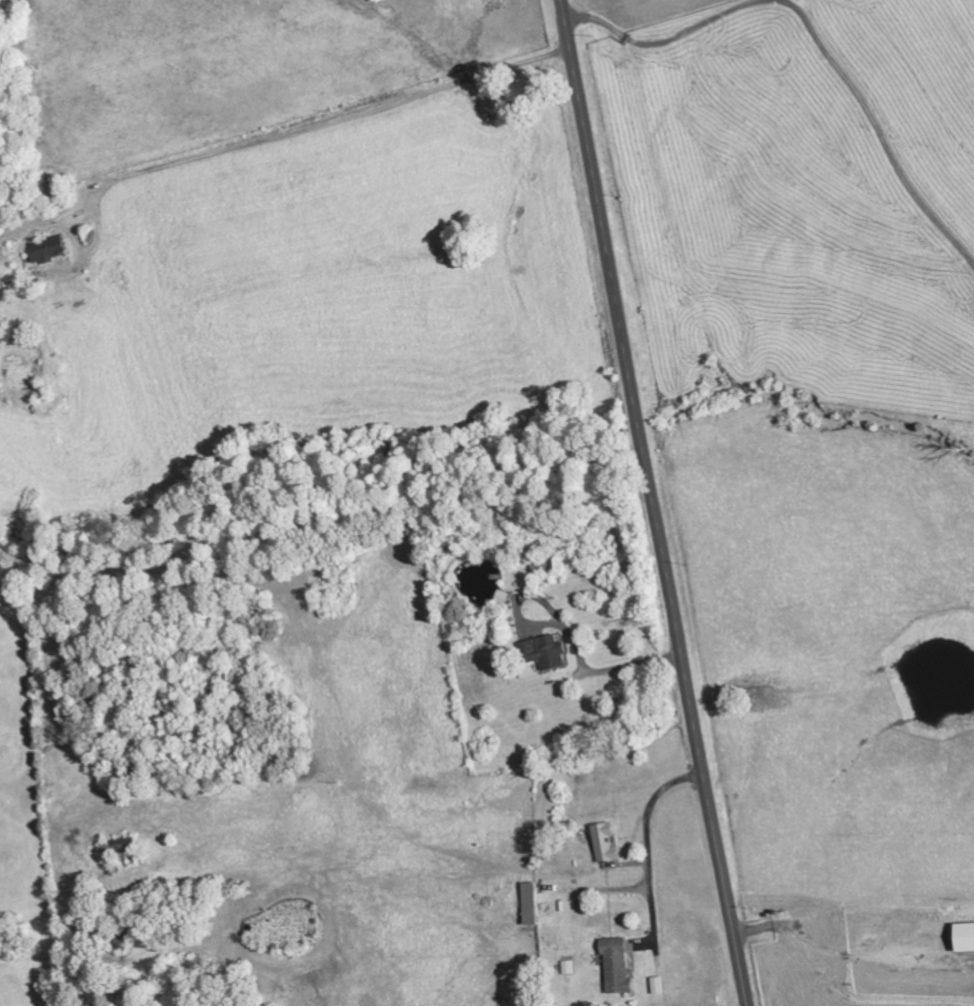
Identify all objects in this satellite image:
building: (48, 250)
road: (654, 503)
road: (823, 587)
building: (546, 654)
road: (418, 832)
building: (607, 842)
building: (122, 849)
building: (532, 904)
building: (618, 966)
building: (570, 968)
building: (660, 986)

